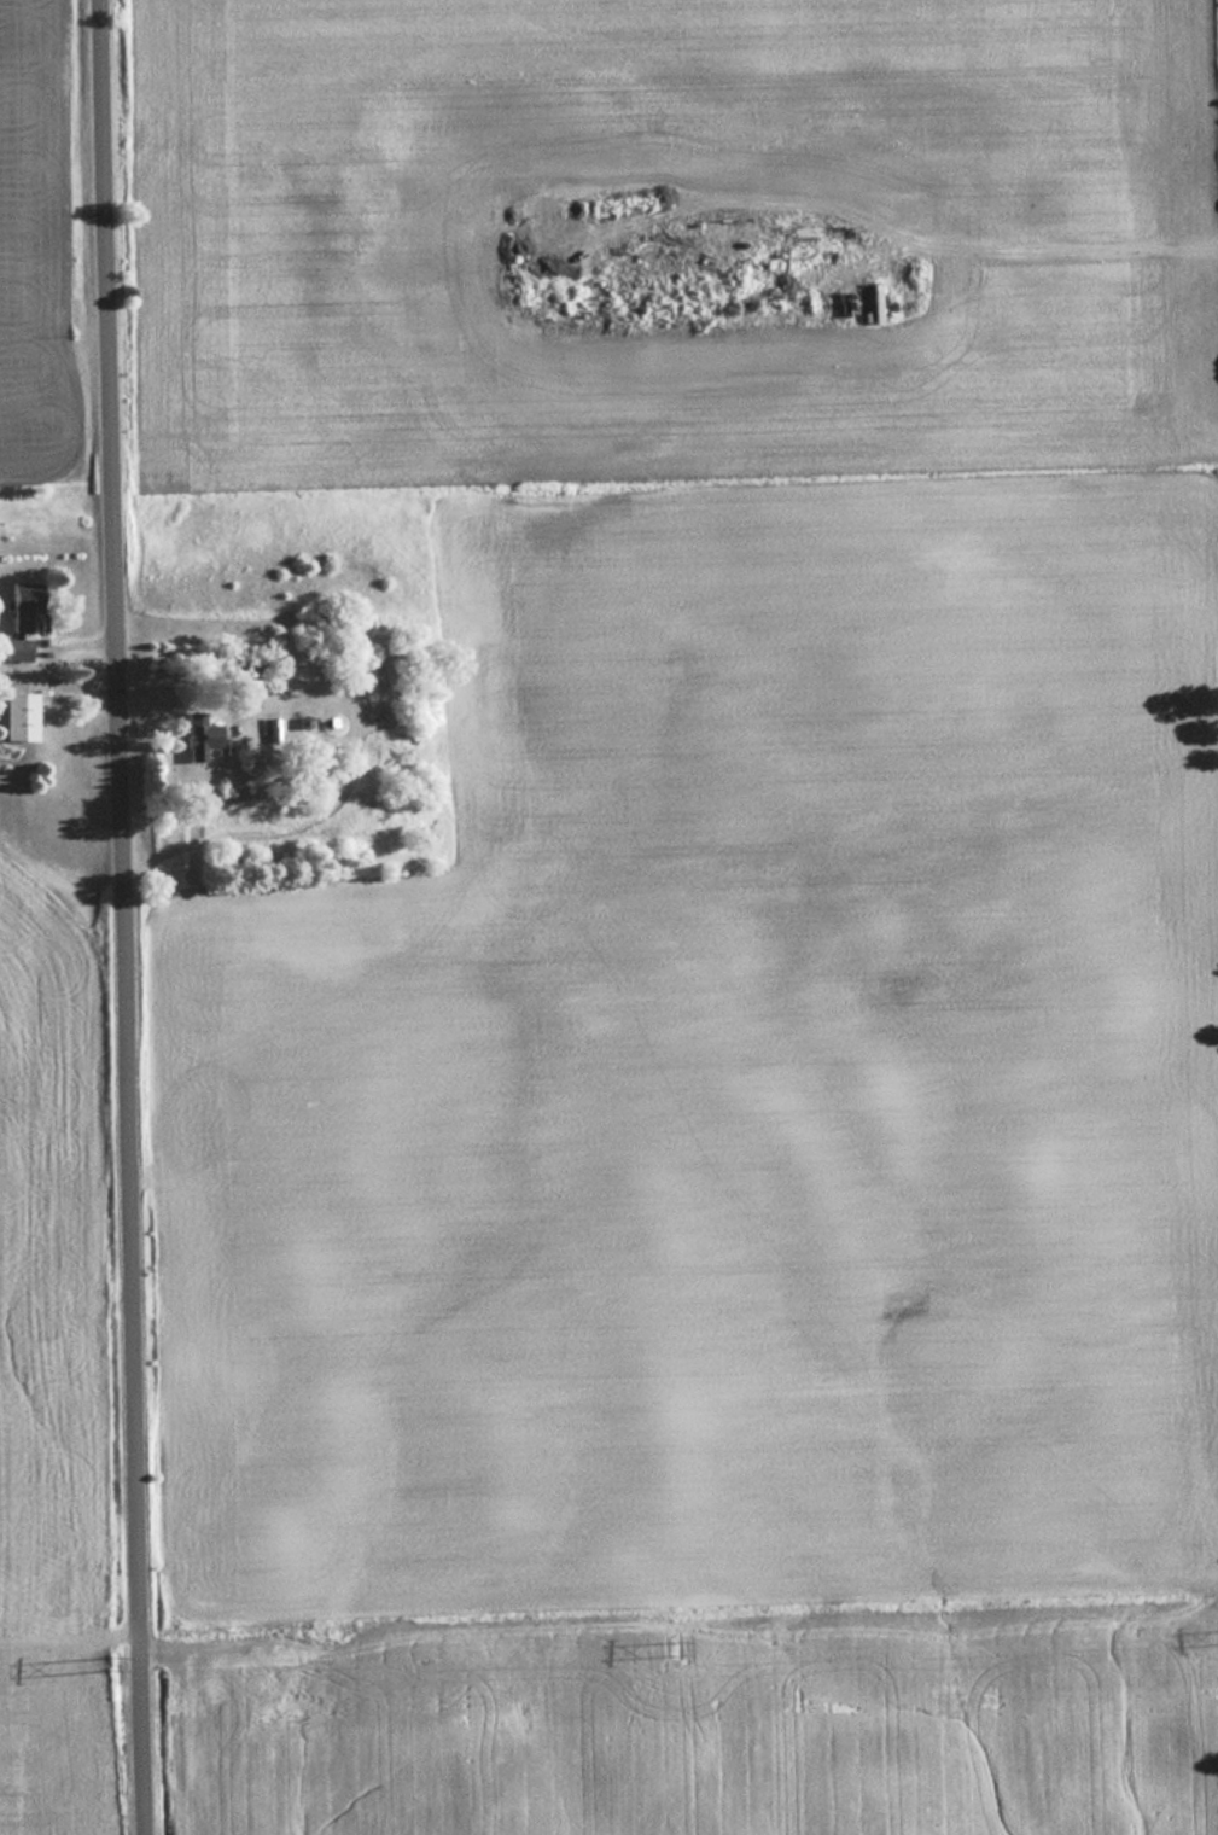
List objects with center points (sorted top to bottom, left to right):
building: (18, 607)
building: (13, 649)
building: (14, 716)
building: (198, 734)
road: (121, 916)
power tower: (680, 1649)
power tower: (110, 1656)

